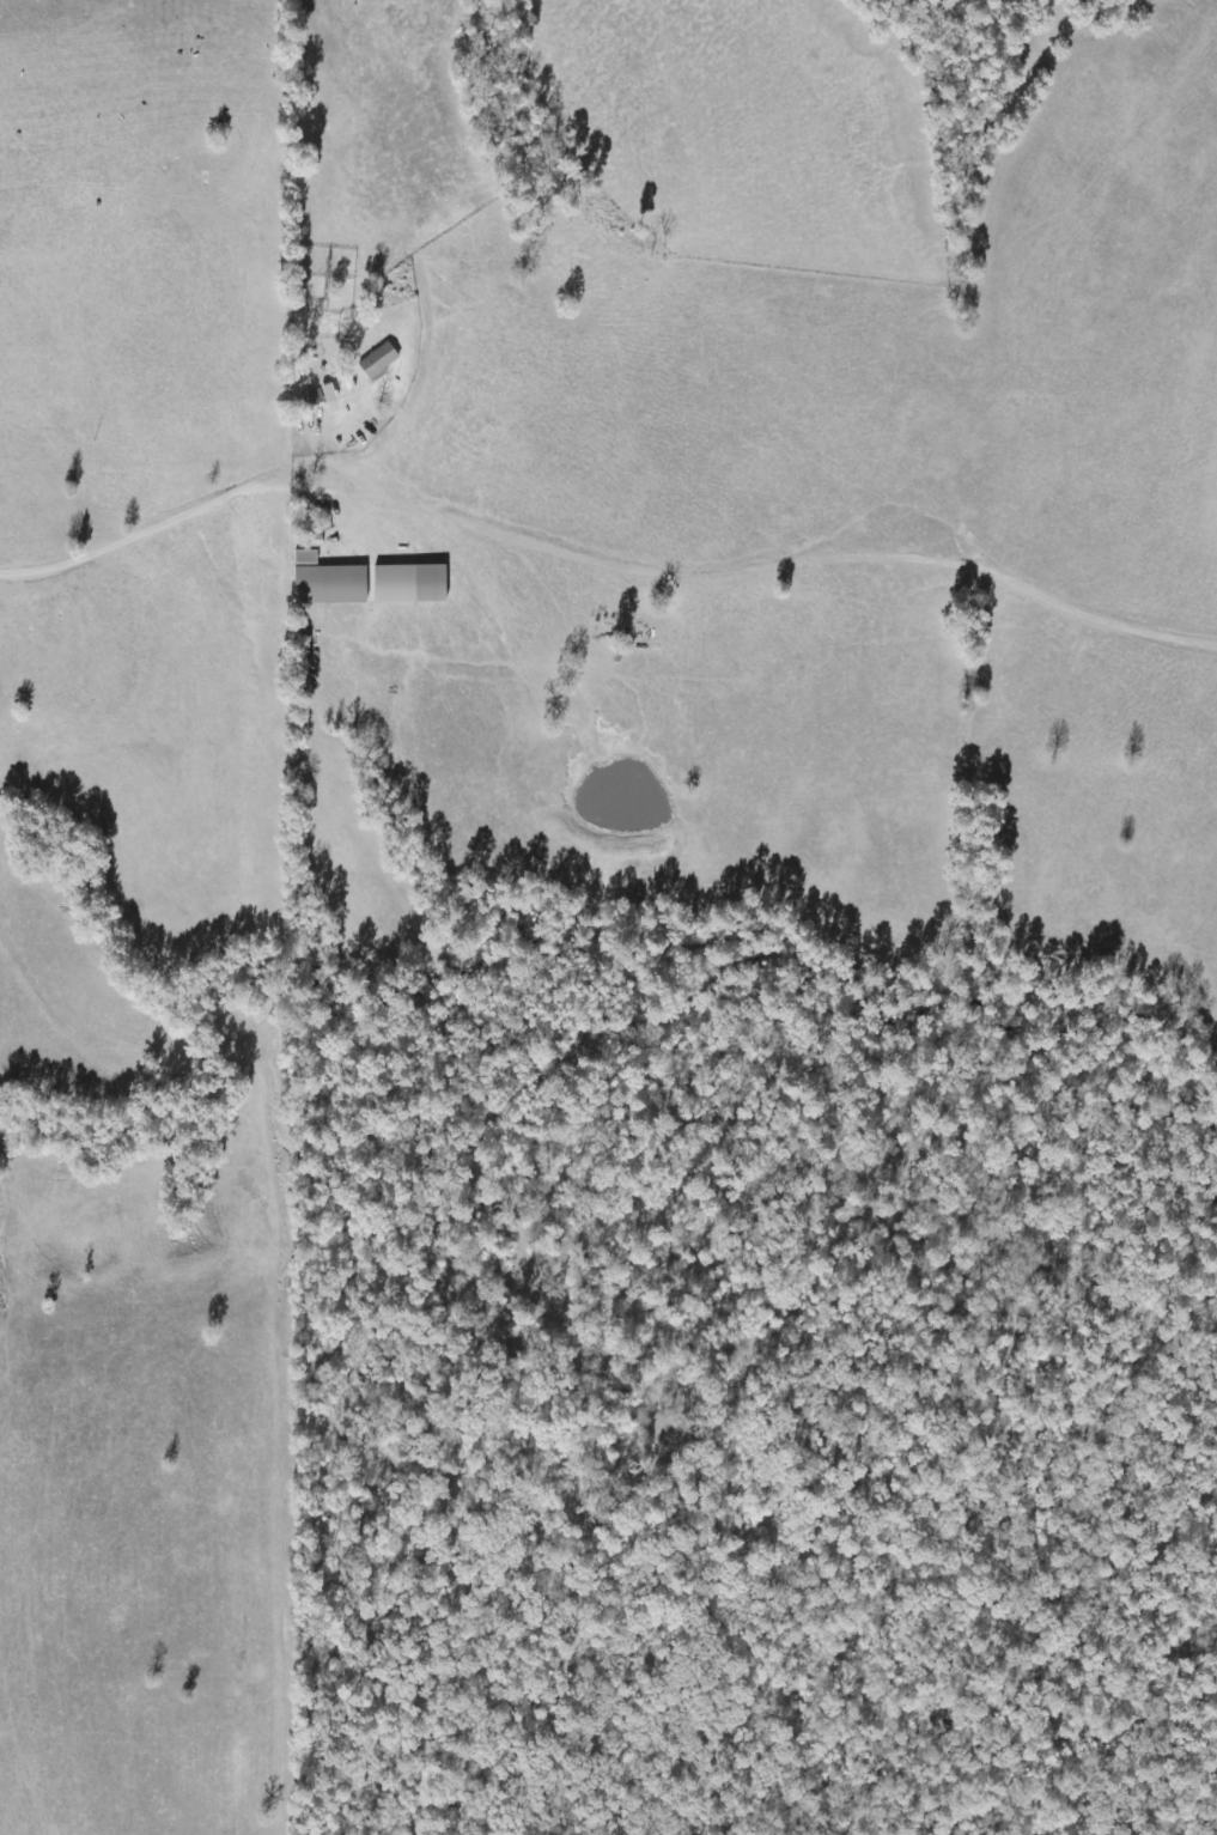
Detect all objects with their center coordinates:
building: (377, 364)
building: (327, 583)
building: (408, 585)

